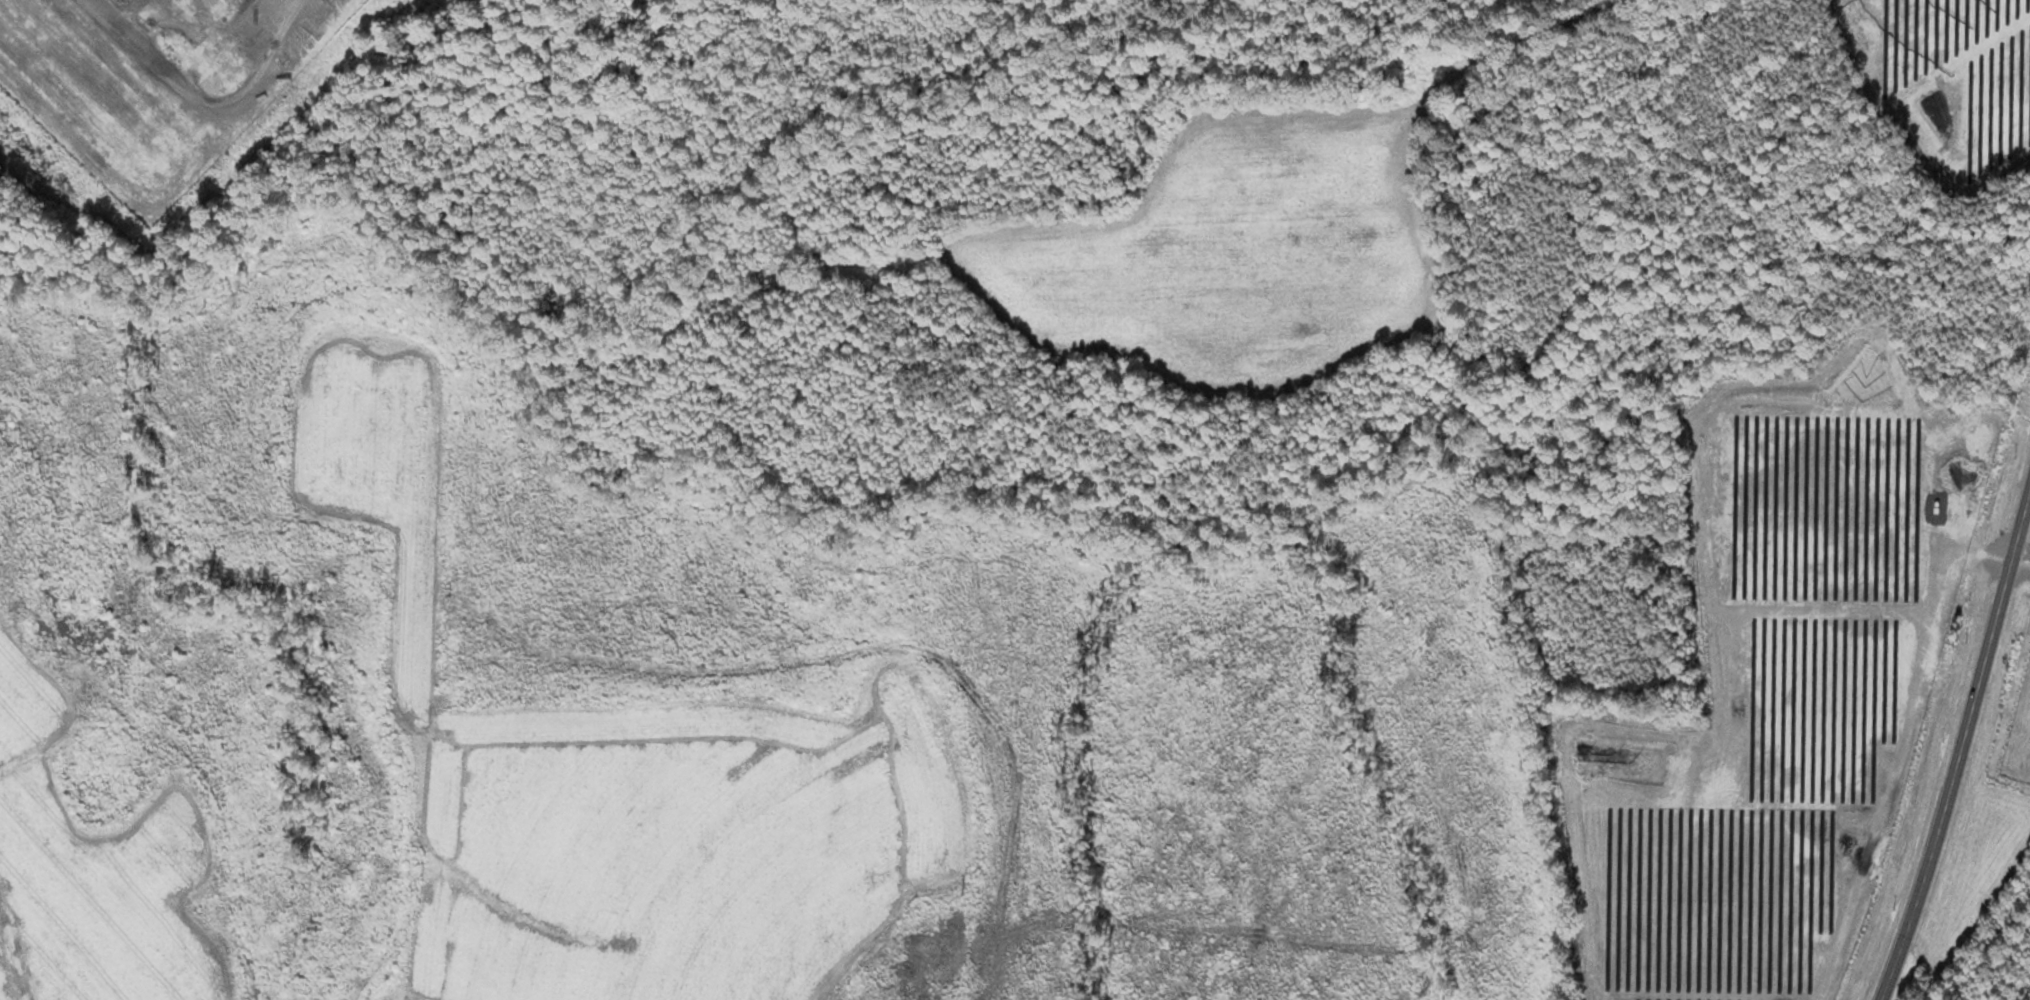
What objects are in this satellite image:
road: (2022, 558)
road: (1960, 751)

